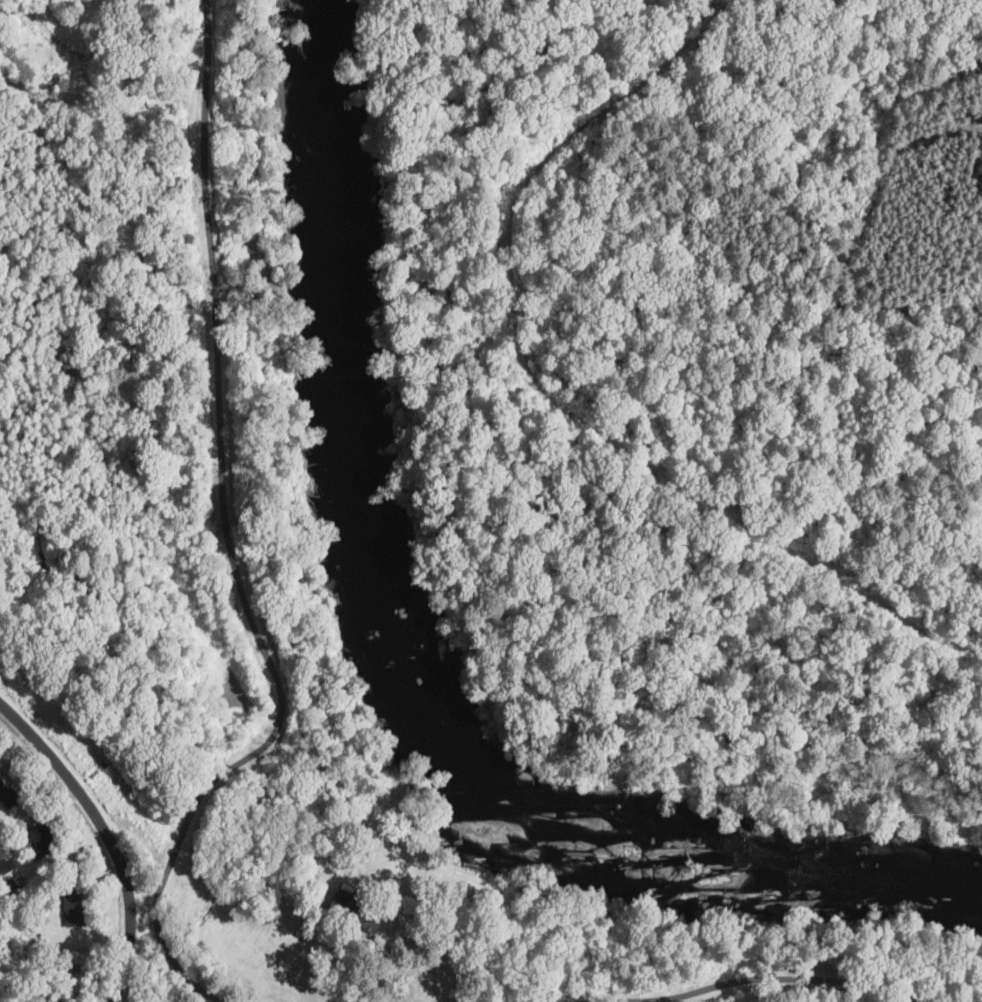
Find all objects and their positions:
road: (230, 544)
river: (433, 650)
building: (7, 795)
road: (103, 828)
building: (42, 838)
building: (3, 863)
building: (74, 907)
building: (355, 909)
road: (393, 965)
road: (755, 979)
road: (118, 992)

